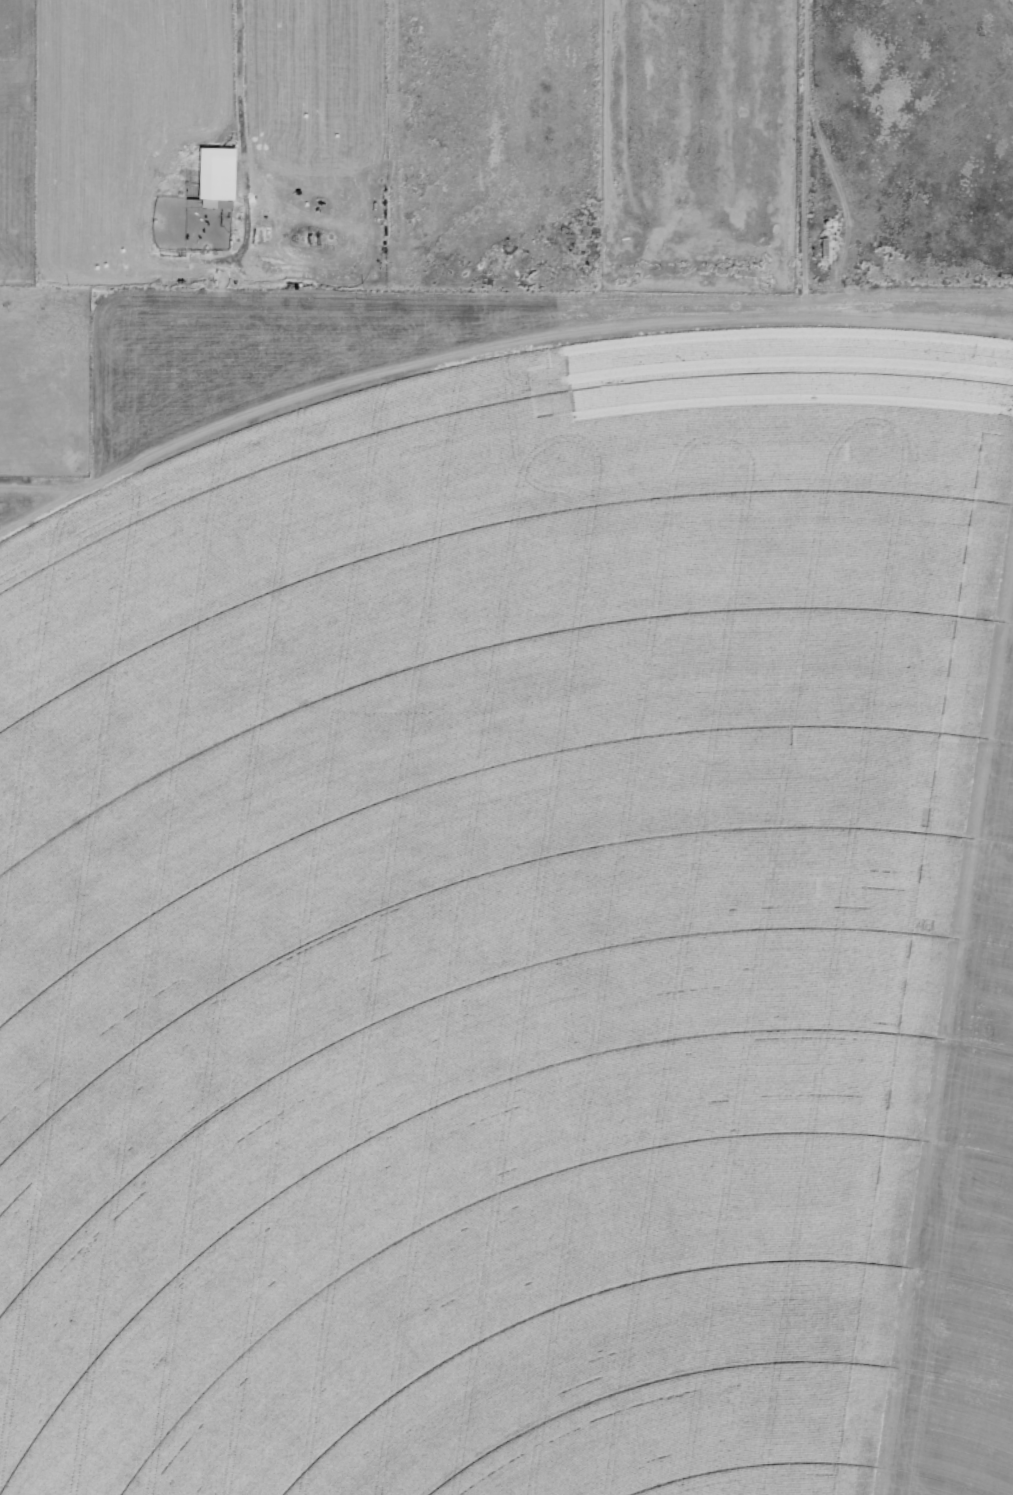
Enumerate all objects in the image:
building: (213, 178)

